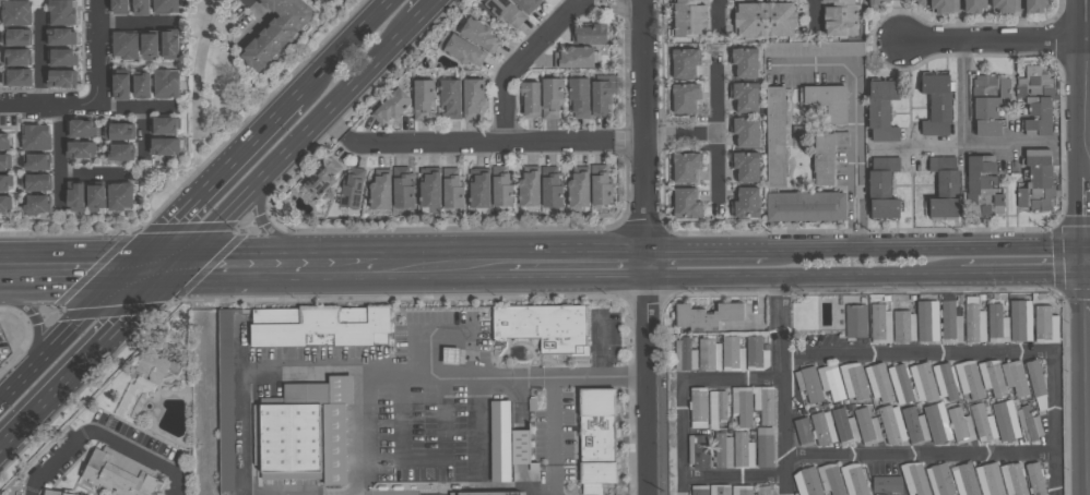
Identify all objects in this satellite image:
building: (322, 1)
building: (327, 1)
building: (907, 1)
road: (618, 2)
building: (875, 2)
building: (919, 2)
building: (524, 5)
building: (1000, 5)
building: (1033, 5)
building: (120, 7)
building: (142, 7)
building: (165, 7)
building: (939, 7)
building: (973, 7)
road: (813, 10)
road: (426, 11)
building: (15, 13)
building: (60, 13)
building: (503, 13)
road: (716, 14)
building: (839, 17)
building: (688, 19)
road: (898, 20)
building: (763, 21)
road: (134, 23)
road: (1088, 29)
building: (274, 32)
building: (588, 35)
building: (61, 36)
building: (477, 36)
building: (16, 37)
road: (992, 39)
building: (123, 45)
building: (150, 45)
building: (170, 45)
road: (345, 46)
building: (813, 50)
building: (461, 51)
road: (96, 52)
building: (16, 57)
building: (61, 57)
road: (524, 57)
building: (576, 59)
road: (39, 60)
building: (683, 64)
building: (743, 64)
road: (640, 69)
road: (200, 71)
building: (16, 77)
building: (60, 79)
building: (165, 84)
building: (121, 86)
building: (142, 86)
road: (1088, 90)
road: (961, 94)
building: (549, 98)
building: (578, 98)
building: (448, 99)
building: (470, 99)
building: (528, 99)
building: (599, 99)
building: (683, 99)
building: (743, 99)
building: (420, 100)
road: (715, 101)
building: (827, 101)
building: (987, 104)
building: (1035, 105)
building: (935, 106)
road: (83, 107)
building: (389, 108)
road: (855, 110)
building: (880, 111)
road: (1087, 123)
building: (166, 124)
road: (335, 125)
building: (81, 129)
building: (119, 131)
road: (144, 132)
building: (743, 133)
building: (799, 133)
road: (679, 136)
building: (35, 137)
building: (774, 138)
road: (628, 140)
building: (3, 141)
road: (296, 143)
road: (478, 143)
building: (164, 146)
road: (962, 147)
building: (80, 149)
building: (119, 152)
building: (826, 156)
road: (58, 159)
building: (5, 161)
building: (35, 161)
building: (744, 168)
building: (684, 169)
road: (716, 172)
road: (94, 176)
road: (215, 179)
building: (320, 179)
building: (36, 182)
building: (1035, 182)
building: (5, 183)
building: (599, 186)
building: (499, 188)
building: (549, 188)
building: (980, 188)
building: (401, 189)
building: (427, 189)
building: (577, 189)
building: (880, 189)
building: (943, 189)
building: (349, 190)
building: (450, 190)
building: (476, 190)
building: (526, 191)
building: (378, 194)
building: (120, 195)
building: (97, 196)
building: (76, 197)
building: (4, 203)
building: (37, 203)
building: (744, 204)
building: (685, 205)
building: (804, 208)
road: (293, 243)
road: (701, 247)
road: (928, 247)
traffic signals: (131, 266)
road: (90, 267)
traffic signals: (180, 267)
road: (216, 267)
road: (316, 267)
road: (576, 267)
road: (443, 268)
road: (798, 280)
road: (1024, 280)
road: (707, 294)
road: (374, 299)
road: (642, 316)
building: (708, 316)
road: (79, 321)
building: (1022, 321)
building: (856, 322)
building: (928, 322)
building: (951, 324)
building: (975, 324)
building: (881, 325)
building: (998, 325)
building: (1047, 326)
road: (38, 327)
building: (320, 327)
building: (545, 327)
building: (905, 327)
road: (447, 331)
parking lot: (605, 335)
road: (600, 346)
building: (753, 352)
building: (704, 354)
building: (731, 354)
road: (860, 354)
building: (685, 355)
road: (90, 359)
road: (322, 364)
building: (154, 366)
building: (1035, 377)
building: (993, 378)
building: (1017, 378)
building: (970, 379)
building: (925, 381)
building: (854, 382)
building: (832, 383)
building: (879, 383)
building: (945, 383)
building: (810, 385)
building: (899, 385)
road: (784, 387)
road: (1067, 389)
road: (13, 390)
building: (342, 390)
road: (555, 391)
building: (307, 395)
building: (226, 400)
road: (402, 403)
parking lot: (431, 403)
building: (766, 405)
building: (744, 407)
building: (700, 408)
building: (719, 411)
building: (984, 422)
building: (937, 423)
building: (1010, 423)
building: (1030, 424)
building: (893, 425)
road: (478, 426)
parking lot: (555, 426)
building: (916, 426)
building: (961, 426)
road: (1054, 426)
building: (845, 427)
building: (868, 427)
building: (824, 428)
building: (804, 432)
road: (683, 439)
building: (287, 442)
building: (502, 442)
building: (335, 444)
building: (522, 447)
building: (767, 448)
building: (724, 451)
building: (745, 451)
building: (700, 452)
road: (863, 457)
road: (142, 458)
road: (58, 461)
building: (535, 468)
building: (600, 473)
building: (117, 474)
building: (988, 478)
building: (915, 479)
building: (1036, 479)
building: (831, 480)
building: (855, 480)
building: (941, 480)
building: (967, 480)
building: (1015, 480)
building: (807, 481)
building: (888, 485)
building: (593, 490)
building: (721, 490)
building: (700, 491)
building: (744, 491)
building: (765, 491)
road: (303, 492)
building: (54, 493)
building: (487, 494)

